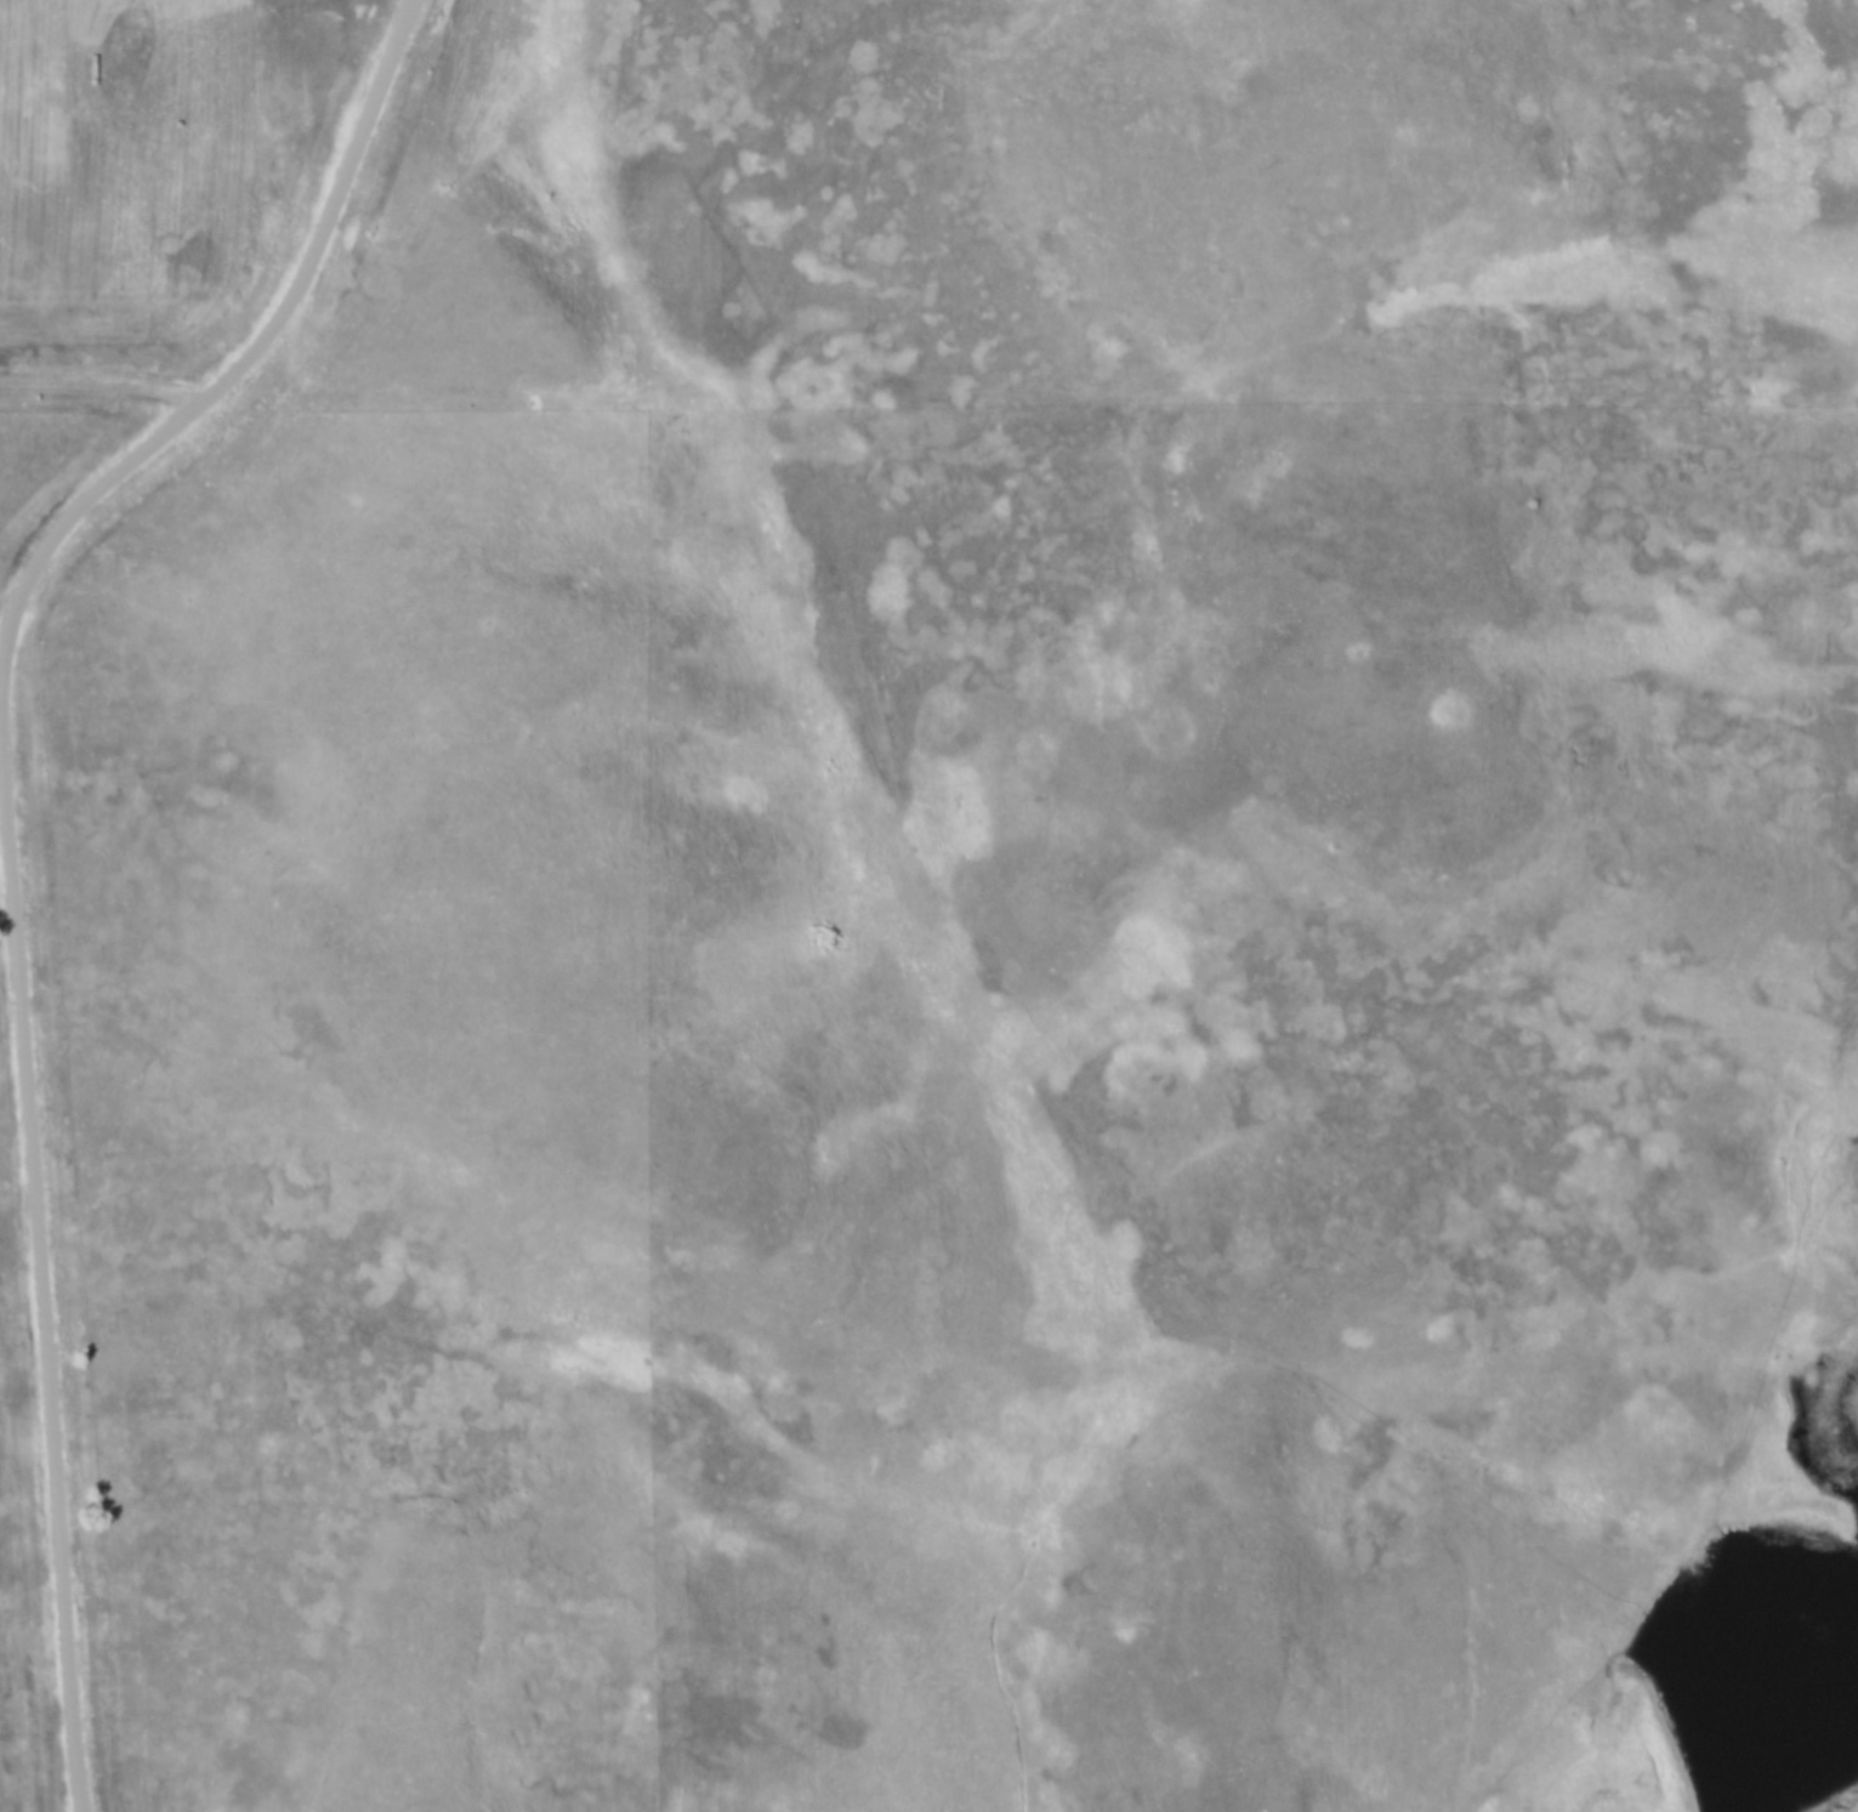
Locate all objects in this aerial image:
road: (102, 388)
road: (13, 837)

